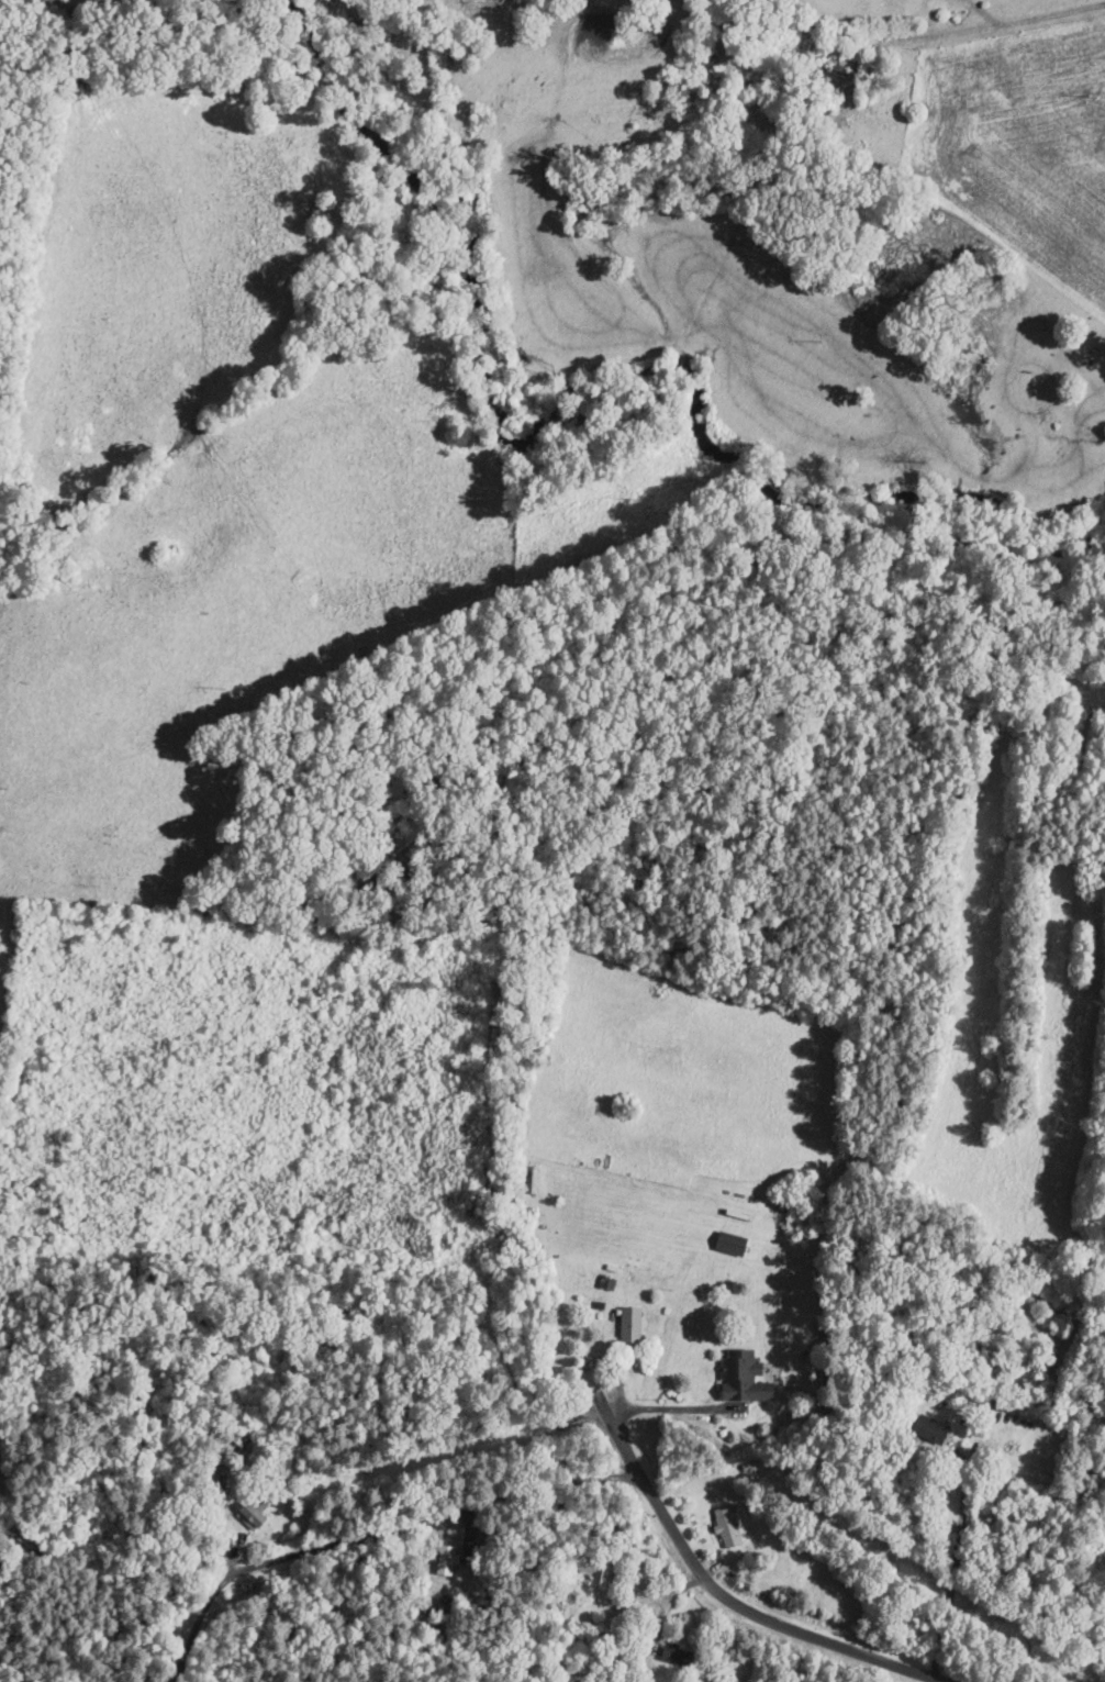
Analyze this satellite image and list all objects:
road: (993, 25)
river: (563, 408)
building: (726, 1244)
building: (737, 1377)
road: (670, 1407)
building: (926, 1430)
building: (247, 1512)
building: (724, 1525)
road: (377, 1531)
road: (953, 1570)
road: (724, 1603)

